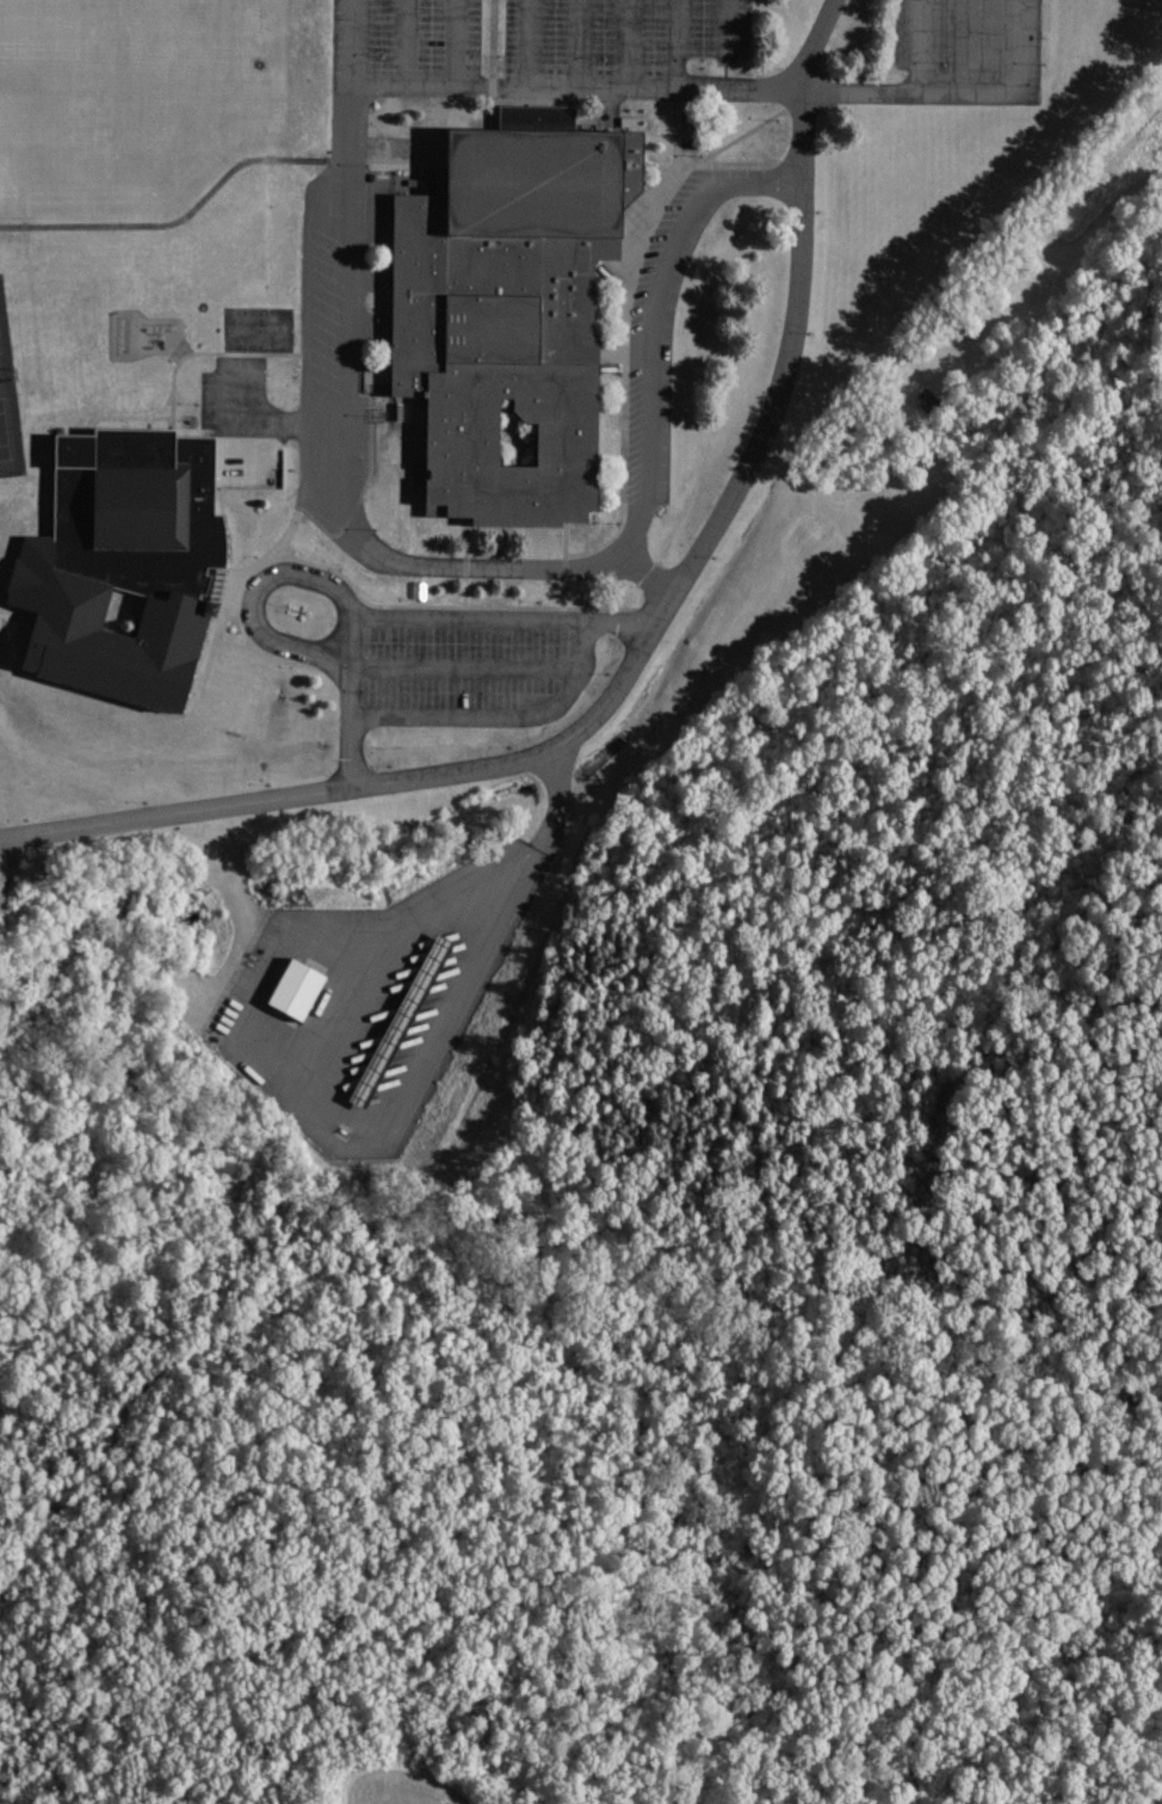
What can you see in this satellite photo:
road: (723, 29)
road: (348, 42)
road: (406, 42)
road: (455, 42)
road: (526, 42)
road: (576, 43)
road: (626, 43)
road: (676, 43)
road: (921, 44)
road: (971, 45)
road: (730, 86)
park: (33, 138)
road: (310, 158)
building: (517, 301)
park: (255, 331)
park: (7, 413)
road: (262, 417)
building: (129, 556)
road: (493, 566)
road: (649, 571)
road: (253, 599)
road: (415, 617)
road: (639, 648)
road: (462, 667)
road: (496, 714)
road: (545, 805)
building: (434, 971)
building: (292, 985)
road: (346, 1014)
building: (394, 1015)
road: (290, 1085)

